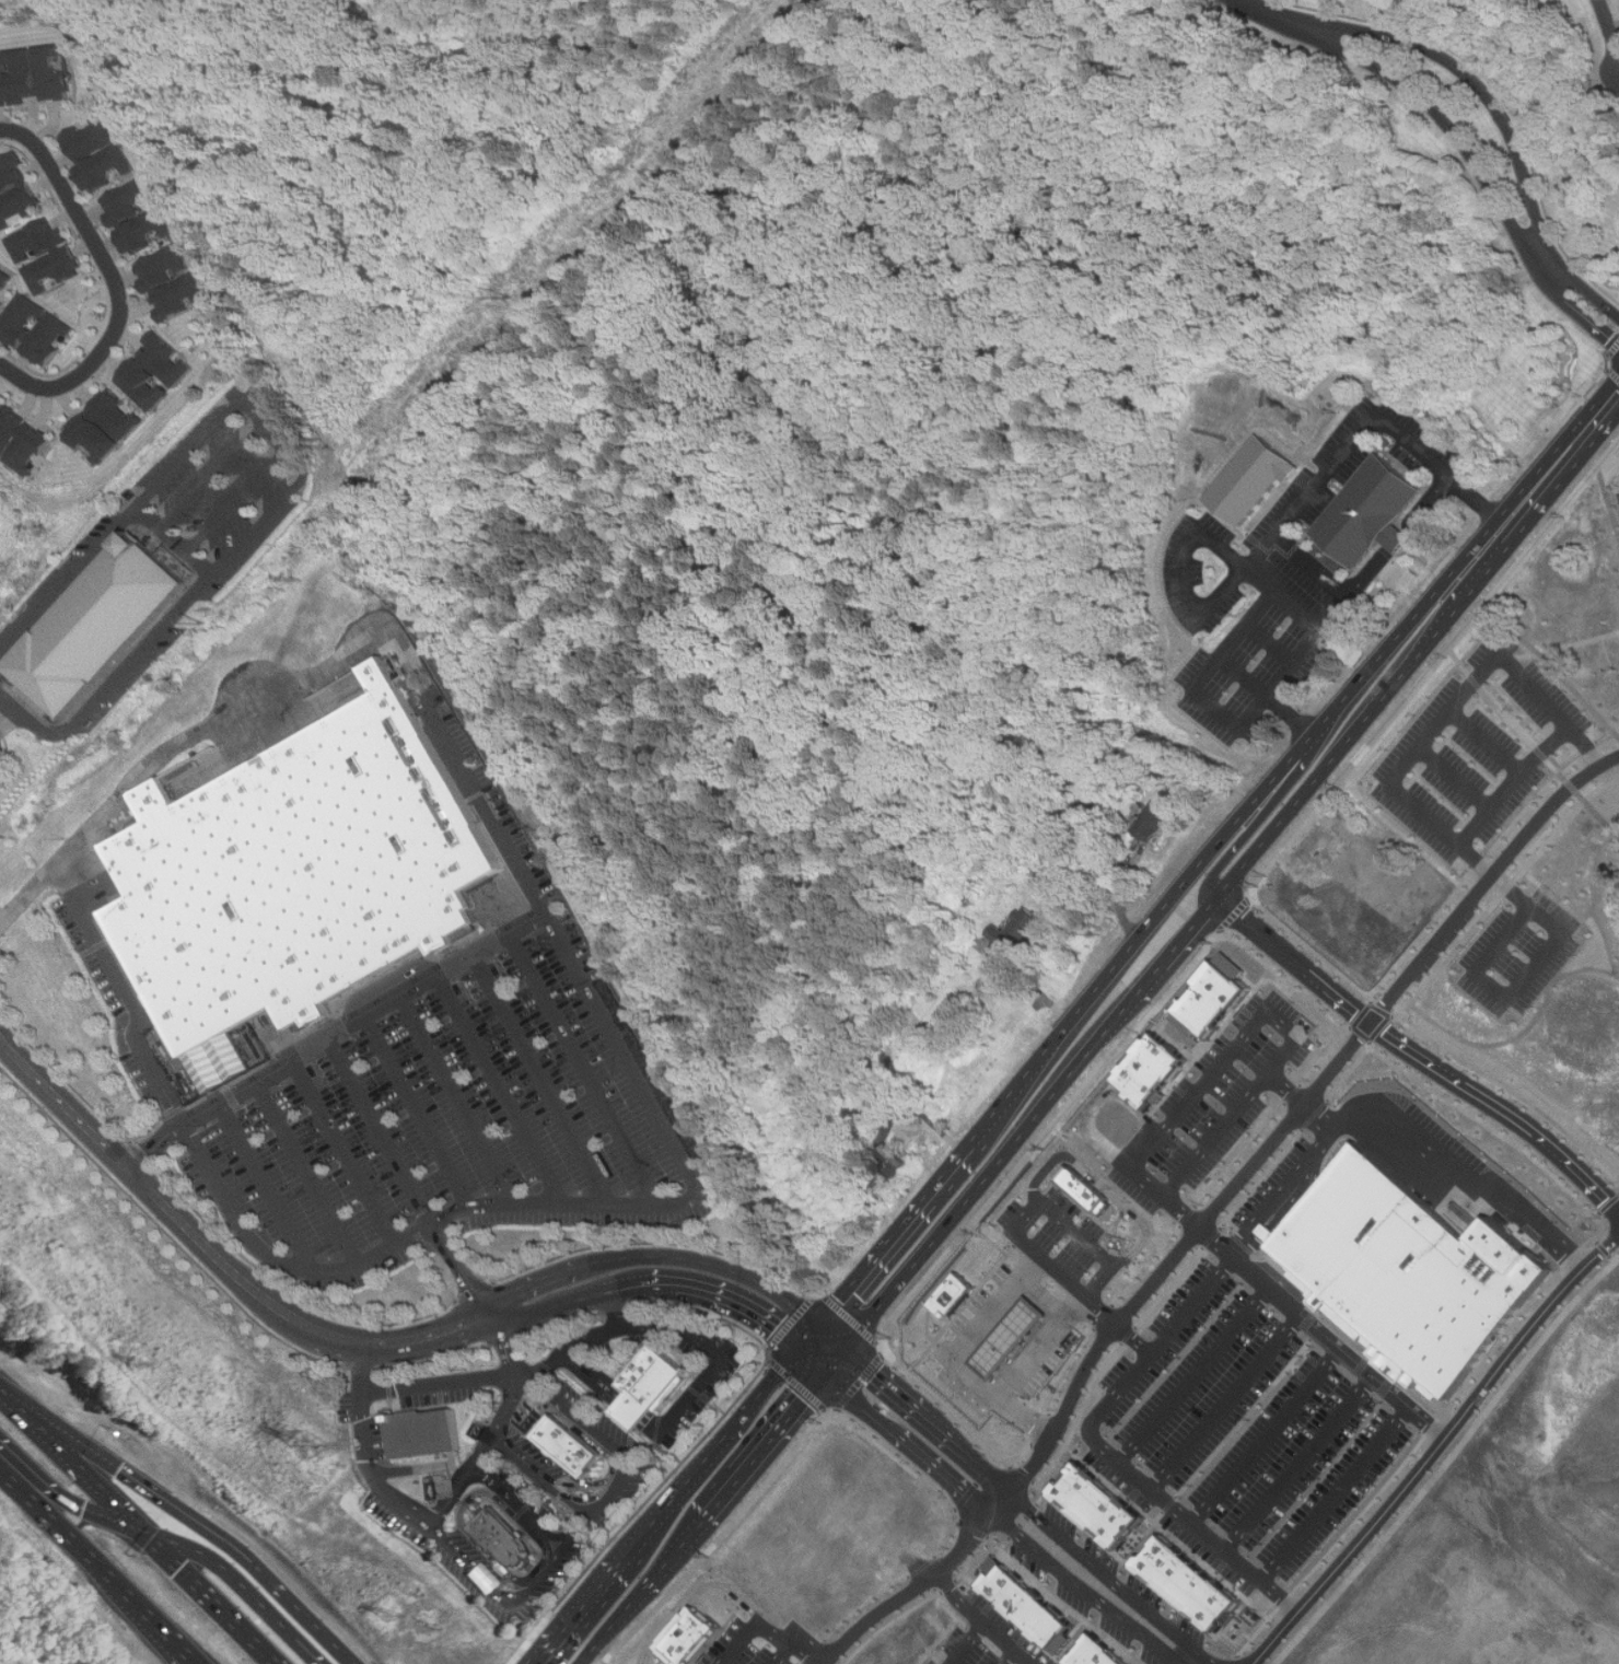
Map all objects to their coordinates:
road: (1282, 19)
road: (1610, 33)
building: (36, 74)
road: (1477, 89)
road: (1444, 123)
building: (92, 138)
building: (102, 167)
building: (13, 189)
building: (125, 200)
building: (139, 230)
building: (39, 254)
building: (2, 276)
road: (107, 277)
building: (164, 281)
road: (1571, 291)
building: (47, 329)
building: (145, 371)
building: (8, 423)
building: (97, 424)
road: (276, 430)
building: (23, 446)
road: (1562, 458)
road: (214, 474)
building: (1253, 479)
road: (238, 498)
road: (1301, 500)
building: (1368, 511)
road: (118, 516)
road: (261, 523)
road: (1398, 535)
road: (174, 537)
road: (1330, 577)
road: (1282, 598)
building: (95, 624)
road: (1269, 643)
road: (109, 676)
road: (1472, 682)
road: (1271, 699)
road: (4, 709)
road: (1215, 709)
road: (209, 729)
road: (1484, 742)
road: (1583, 748)
road: (1454, 780)
road: (1511, 787)
road: (1422, 818)
building: (1156, 822)
road: (1494, 877)
building: (292, 880)
road: (58, 888)
road: (1121, 899)
road: (1548, 921)
building: (1016, 931)
road: (1167, 932)
road: (440, 976)
road: (1493, 987)
road: (1036, 988)
building: (1212, 999)
road: (131, 1016)
road: (1248, 1029)
road: (1410, 1049)
building: (1151, 1072)
road: (579, 1079)
road: (535, 1089)
road: (1284, 1090)
road: (491, 1098)
parking lot: (426, 1099)
road: (1096, 1105)
road: (450, 1108)
road: (1296, 1113)
road: (408, 1119)
road: (1320, 1121)
road: (935, 1124)
road: (371, 1138)
road: (178, 1140)
road: (335, 1162)
road: (1466, 1168)
building: (889, 1171)
road: (300, 1184)
road: (1103, 1185)
building: (1086, 1190)
road: (258, 1192)
road: (1285, 1197)
road: (560, 1217)
road: (1080, 1229)
road: (224, 1255)
road: (717, 1266)
building: (1414, 1269)
road: (453, 1279)
road: (638, 1280)
road: (537, 1282)
road: (1081, 1294)
building: (953, 1295)
gas station: (953, 1299)
road: (741, 1304)
road: (558, 1305)
road: (614, 1308)
road: (1321, 1331)
road: (661, 1338)
traffic signals: (830, 1339)
building: (1014, 1340)
road: (815, 1346)
road: (1161, 1346)
road: (498, 1350)
traffic signals: (801, 1353)
road: (827, 1357)
road: (813, 1363)
power tower: (135, 1364)
road: (354, 1366)
traffic signals: (825, 1374)
road: (603, 1375)
road: (1197, 1376)
road: (777, 1378)
road: (876, 1378)
road: (597, 1380)
road: (980, 1381)
road: (520, 1382)
road: (590, 1384)
road: (434, 1387)
building: (649, 1392)
parking lot: (690, 1400)
road: (1227, 1403)
road: (642, 1406)
road: (859, 1407)
road: (638, 1411)
road: (1033, 1415)
road: (632, 1417)
road: (661, 1420)
parking lot: (499, 1422)
road: (501, 1422)
road: (576, 1422)
road: (656, 1426)
road: (651, 1433)
building: (421, 1435)
road: (1268, 1438)
parking lot: (370, 1445)
road: (764, 1445)
power tower: (302, 1446)
road: (715, 1446)
road: (1436, 1451)
building: (566, 1452)
road: (968, 1458)
parking lot: (522, 1464)
traffic signals: (114, 1465)
road: (1301, 1466)
road: (370, 1471)
road: (406, 1476)
road: (539, 1478)
road: (947, 1478)
road: (613, 1491)
road: (1336, 1496)
road: (450, 1499)
road: (516, 1505)
parking lot: (517, 1509)
road: (1006, 1509)
building: (1108, 1509)
road: (184, 1515)
traffic signals: (91, 1518)
road: (655, 1521)
road: (1191, 1523)
road: (140, 1528)
road: (573, 1532)
road: (167, 1538)
building: (504, 1540)
road: (490, 1551)
road: (674, 1552)
building: (796, 1552)
parking lot: (479, 1559)
road: (917, 1567)
road: (97, 1568)
road: (1113, 1581)
traffic signals: (198, 1582)
building: (1195, 1584)
road: (1088, 1591)
road: (916, 1593)
road: (692, 1595)
road: (499, 1598)
road: (583, 1607)
building: (1037, 1608)
power tower: (385, 1615)
road: (985, 1622)
road: (767, 1625)
road: (612, 1626)
building: (687, 1636)
road: (969, 1644)
road: (785, 1654)
building: (1108, 1654)
road: (1015, 1659)

